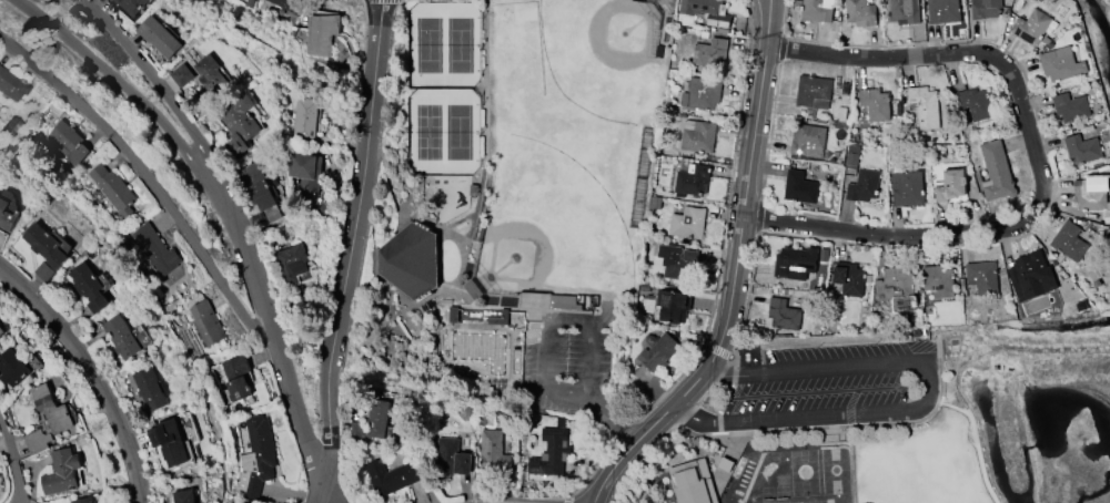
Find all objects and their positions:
building: (289, 4)
building: (131, 6)
building: (988, 9)
building: (816, 10)
building: (942, 10)
building: (707, 11)
building: (904, 11)
building: (860, 12)
building: (1031, 25)
building: (321, 33)
building: (159, 35)
park: (428, 44)
park: (460, 44)
park: (606, 51)
building: (709, 52)
building: (1060, 63)
building: (181, 74)
building: (210, 74)
road: (153, 76)
road: (117, 78)
building: (11, 85)
building: (814, 91)
building: (702, 92)
building: (976, 102)
building: (875, 103)
building: (924, 105)
building: (1070, 106)
building: (304, 119)
building: (240, 123)
park: (427, 131)
park: (458, 131)
building: (698, 136)
building: (807, 138)
building: (69, 141)
building: (1082, 147)
road: (1038, 164)
building: (996, 171)
building: (304, 176)
road: (152, 177)
building: (692, 178)
building: (949, 184)
building: (862, 185)
building: (799, 186)
building: (907, 187)
building: (112, 188)
building: (260, 191)
building: (1091, 195)
park: (515, 201)
building: (7, 215)
building: (687, 222)
park: (549, 227)
building: (1068, 240)
building: (154, 249)
building: (46, 250)
road: (350, 250)
building: (410, 259)
building: (676, 260)
building: (291, 261)
building: (795, 261)
road: (733, 274)
building: (1031, 275)
building: (982, 276)
building: (849, 278)
building: (938, 280)
building: (88, 286)
building: (896, 287)
building: (563, 300)
building: (672, 305)
building: (784, 314)
road: (548, 319)
building: (205, 322)
building: (0, 329)
road: (274, 331)
building: (120, 336)
building: (657, 350)
parking lot: (568, 359)
building: (11, 367)
road: (95, 371)
building: (236, 377)
building: (149, 388)
road: (926, 400)
road: (610, 413)
road: (3, 418)
building: (47, 418)
building: (371, 420)
road: (840, 428)
road: (975, 437)
building: (169, 440)
track: (805, 445)
building: (492, 450)
building: (549, 452)
building: (255, 456)
building: (450, 456)
road: (16, 463)
park: (835, 470)
building: (61, 471)
park: (804, 471)
building: (389, 475)
building: (693, 482)
park: (767, 494)
park: (781, 494)
building: (182, 495)
building: (82, 500)
track: (738, 501)
building: (234, 502)

